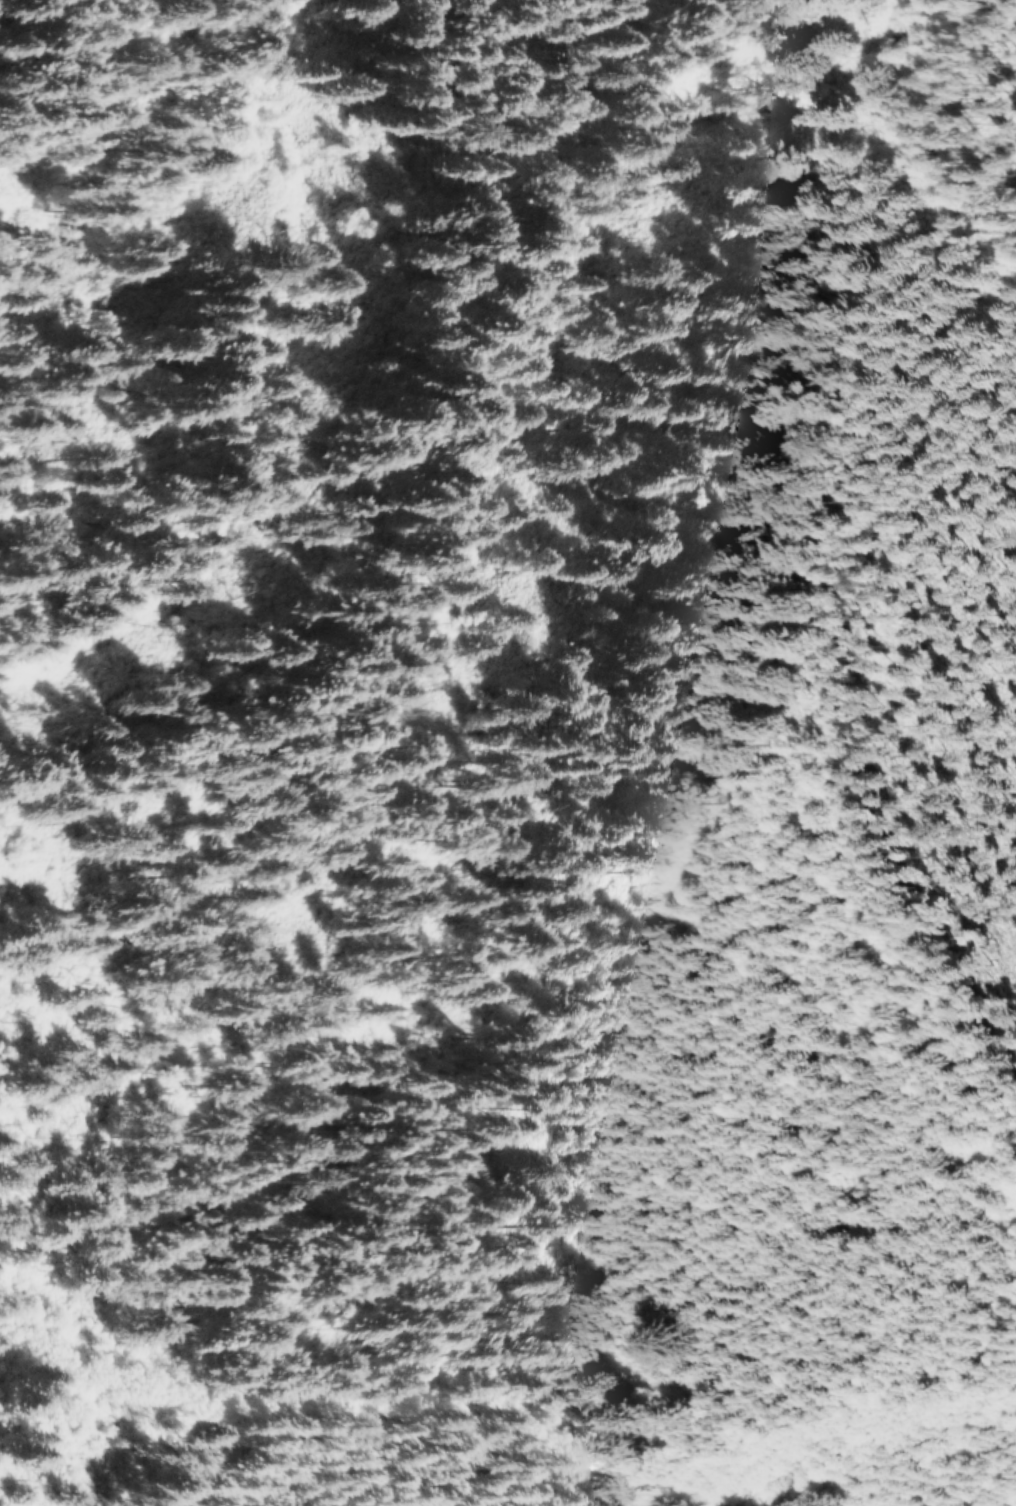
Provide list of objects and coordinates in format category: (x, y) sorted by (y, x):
road: (490, 1282)

